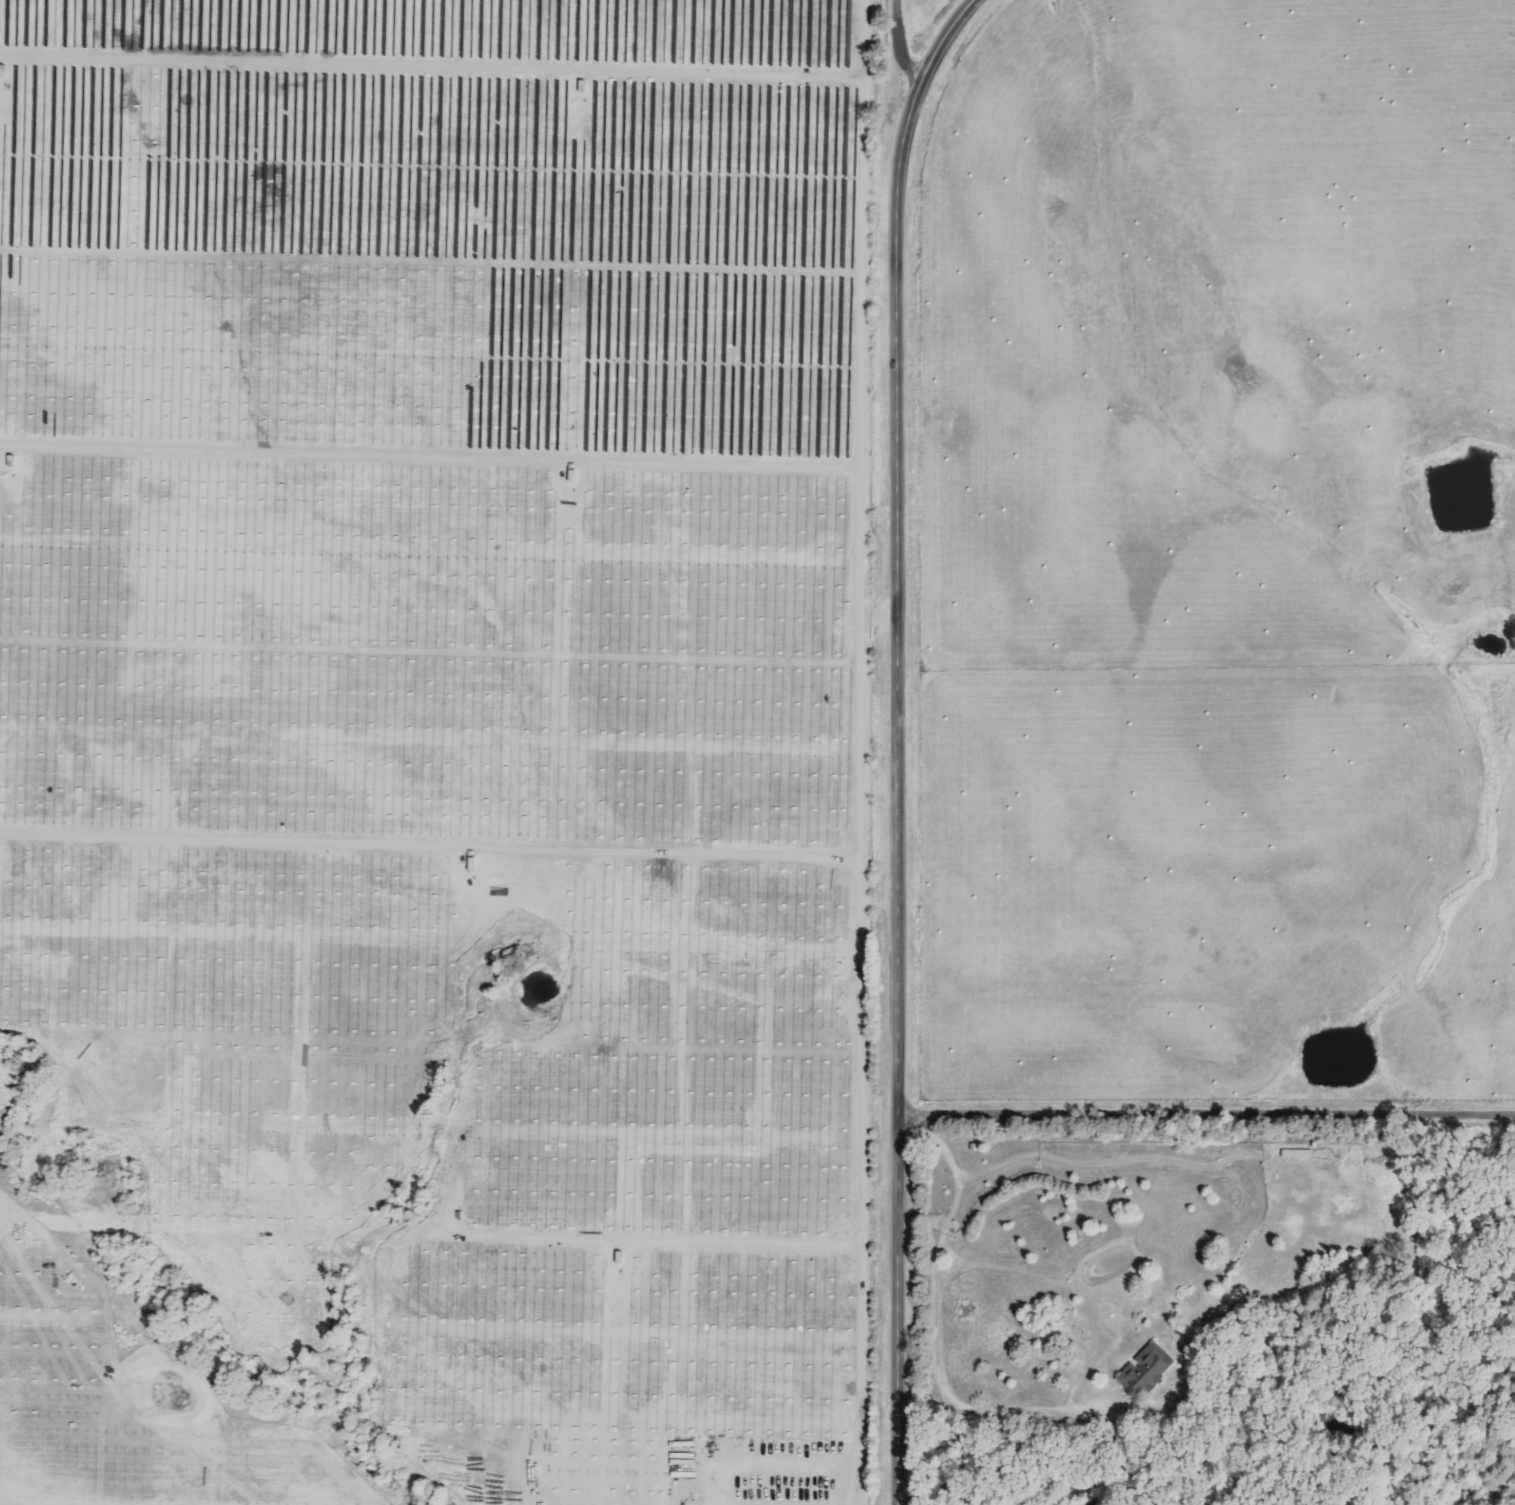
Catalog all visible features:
road: (919, 38)
road: (900, 744)
road: (1208, 1108)
building: (1295, 1153)
building: (1145, 1369)
road: (987, 1407)

